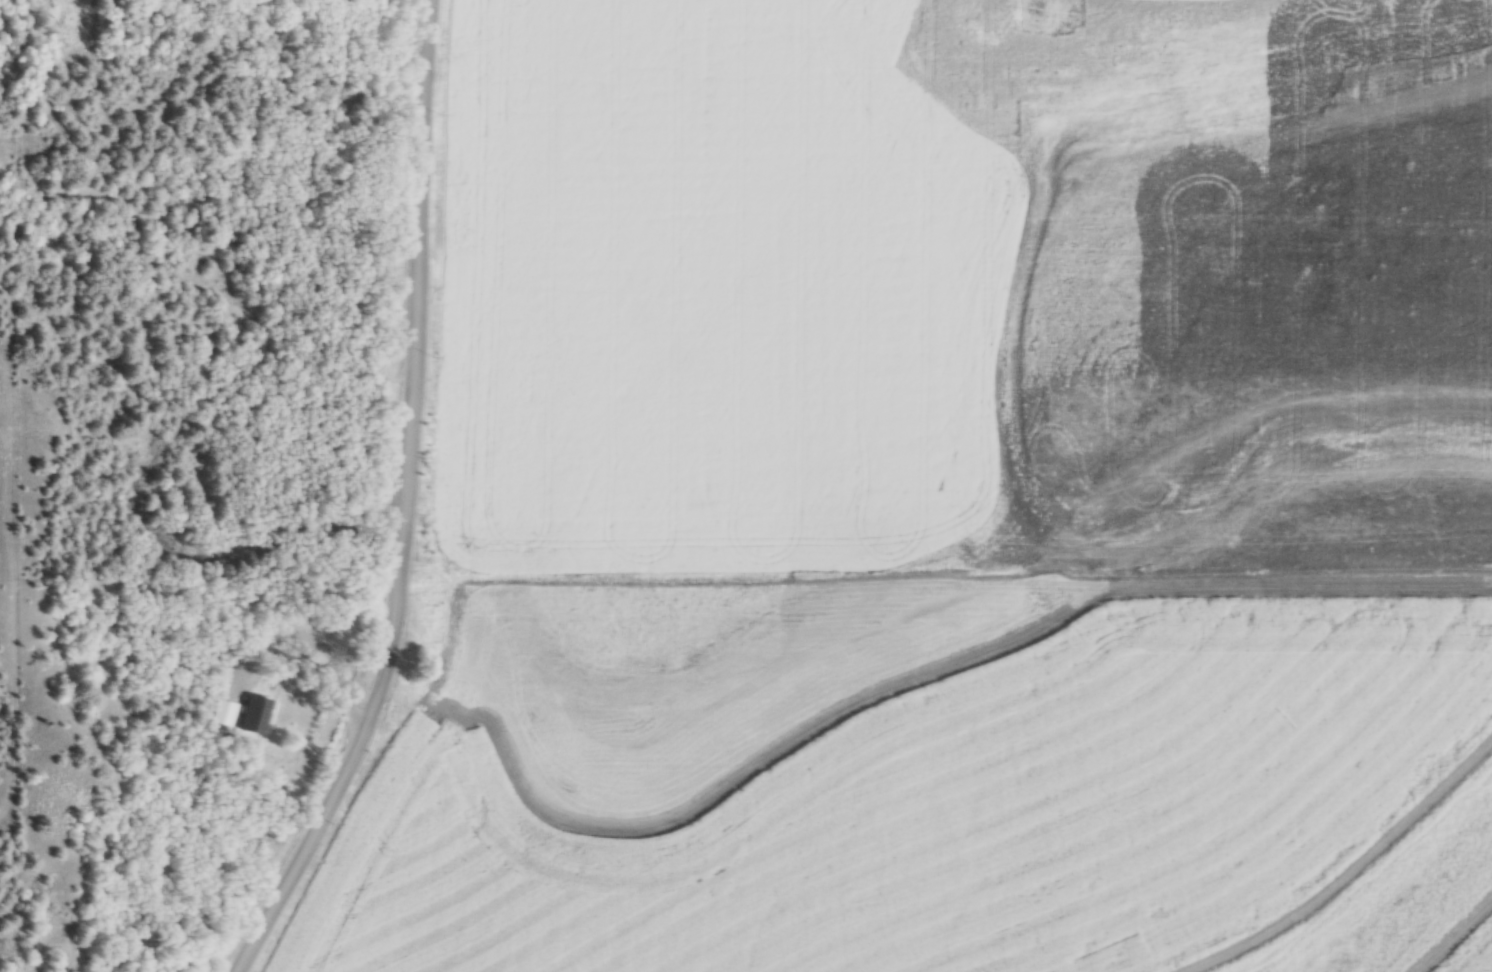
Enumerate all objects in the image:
road: (408, 504)

